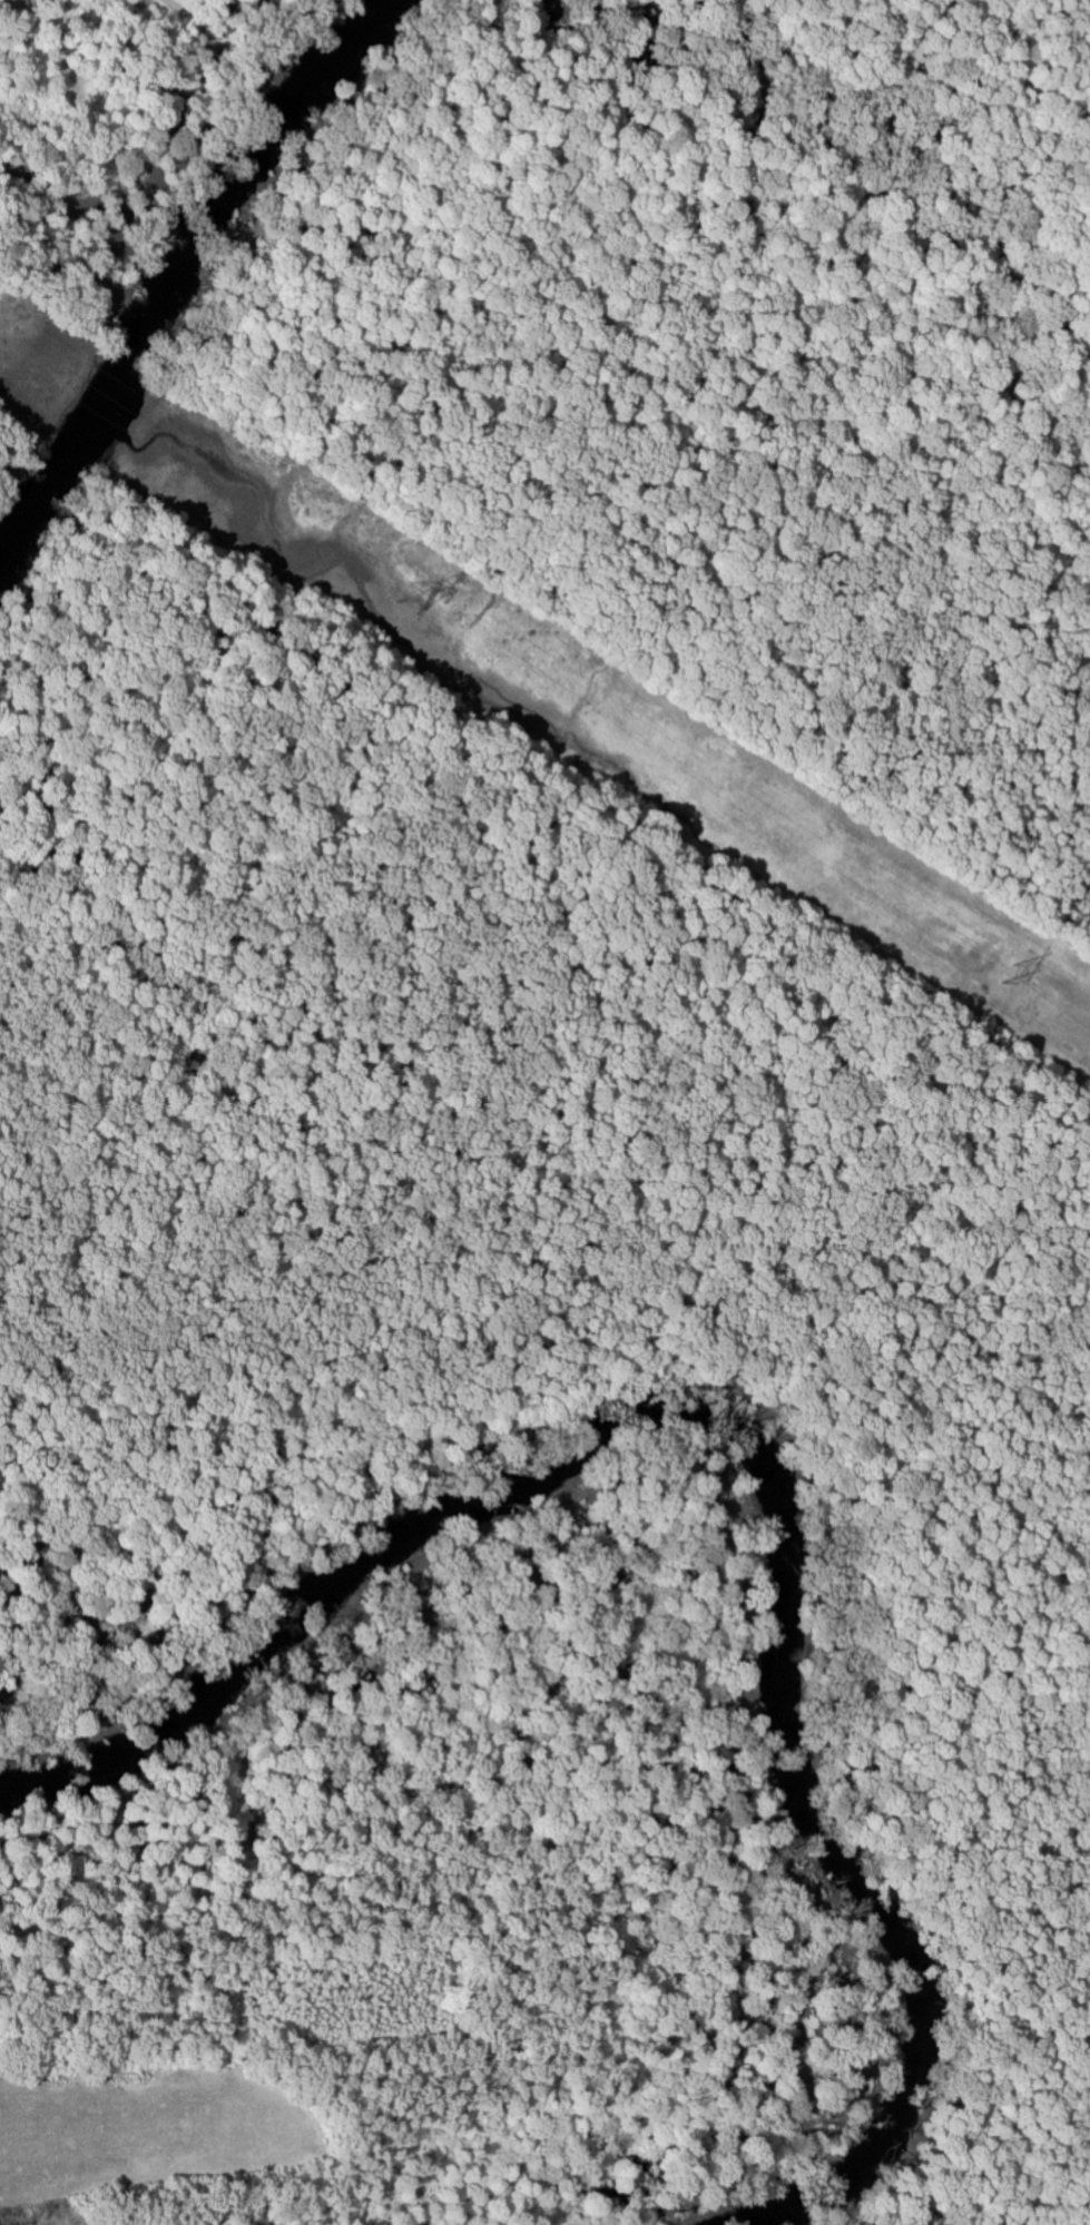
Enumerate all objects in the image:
river: (177, 265)
power tower: (416, 600)
power tower: (1004, 975)
river: (768, 1451)

